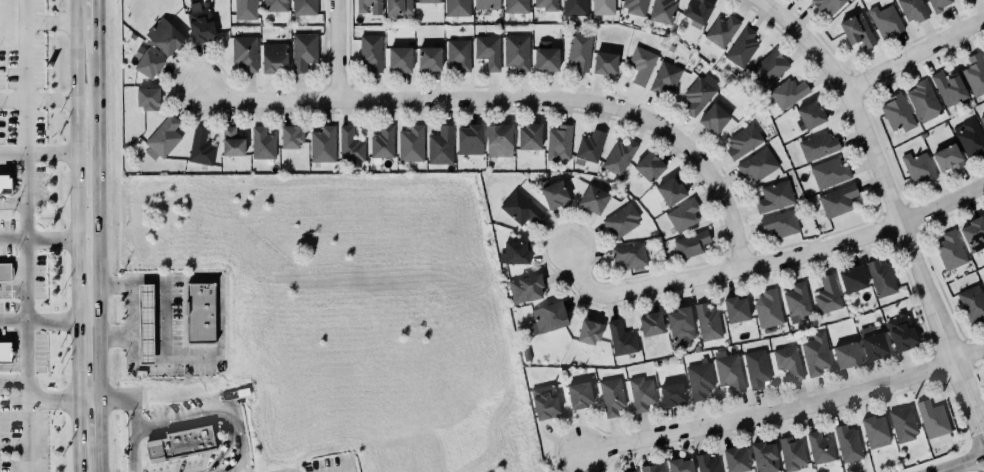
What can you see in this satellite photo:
building: (429, 1)
building: (366, 4)
building: (487, 4)
building: (546, 4)
building: (938, 4)
building: (275, 5)
building: (516, 5)
building: (635, 6)
building: (827, 6)
building: (304, 7)
building: (397, 7)
building: (457, 7)
building: (575, 7)
building: (603, 7)
building: (246, 9)
building: (913, 9)
building: (698, 10)
building: (662, 11)
road: (48, 19)
building: (200, 20)
building: (885, 20)
road: (97, 26)
building: (721, 30)
building: (857, 30)
building: (165, 35)
building: (741, 46)
road: (22, 50)
building: (303, 50)
road: (335, 50)
building: (488, 50)
building: (516, 50)
building: (579, 50)
building: (983, 50)
building: (245, 51)
building: (371, 51)
building: (459, 53)
road: (914, 54)
building: (545, 55)
building: (274, 56)
building: (429, 56)
building: (400, 57)
building: (147, 60)
building: (604, 62)
building: (641, 64)
building: (770, 66)
building: (974, 73)
building: (664, 77)
building: (949, 87)
building: (699, 93)
building: (787, 93)
building: (147, 96)
road: (37, 99)
road: (512, 100)
building: (923, 100)
building: (897, 112)
building: (811, 114)
building: (714, 118)
building: (982, 118)
building: (291, 135)
building: (529, 135)
building: (162, 137)
building: (969, 137)
building: (469, 138)
building: (499, 138)
building: (232, 141)
building: (743, 141)
building: (262, 142)
building: (382, 142)
building: (411, 142)
building: (559, 142)
building: (322, 144)
building: (349, 144)
building: (441, 145)
building: (589, 145)
building: (817, 145)
building: (200, 147)
road: (50, 151)
road: (12, 152)
building: (619, 155)
building: (948, 157)
building: (757, 164)
building: (649, 165)
road: (76, 167)
building: (918, 167)
road: (24, 169)
building: (829, 172)
building: (4, 184)
building: (670, 189)
building: (554, 192)
building: (774, 196)
building: (593, 197)
building: (838, 200)
road: (12, 204)
building: (520, 207)
road: (893, 208)
building: (683, 214)
building: (622, 219)
building: (780, 222)
building: (974, 233)
road: (37, 239)
building: (691, 243)
building: (950, 250)
building: (513, 251)
building: (630, 254)
road: (98, 262)
road: (765, 264)
building: (3, 270)
building: (853, 277)
building: (881, 277)
road: (12, 286)
building: (525, 286)
road: (12, 292)
building: (827, 293)
building: (797, 301)
building: (972, 302)
building: (736, 308)
building: (768, 308)
building: (201, 314)
building: (547, 316)
road: (38, 321)
building: (707, 321)
building: (651, 322)
building: (145, 323)
building: (681, 326)
building: (589, 330)
building: (902, 332)
road: (113, 338)
building: (621, 338)
building: (873, 342)
building: (697, 347)
building: (4, 351)
road: (165, 351)
building: (816, 353)
building: (847, 353)
road: (25, 355)
building: (788, 360)
building: (756, 367)
road: (13, 368)
road: (77, 368)
building: (728, 370)
building: (699, 378)
road: (13, 383)
building: (641, 392)
building: (579, 393)
building: (672, 393)
building: (612, 395)
building: (545, 400)
road: (51, 401)
road: (87, 401)
road: (785, 409)
road: (208, 412)
building: (932, 418)
road: (130, 420)
building: (903, 423)
road: (201, 424)
building: (874, 427)
road: (77, 436)
building: (180, 443)
building: (848, 443)
building: (820, 447)
building: (792, 452)
building: (765, 456)
building: (736, 458)
building: (707, 463)
road: (959, 463)
building: (680, 465)
building: (653, 467)
road: (237, 471)
building: (631, 471)

